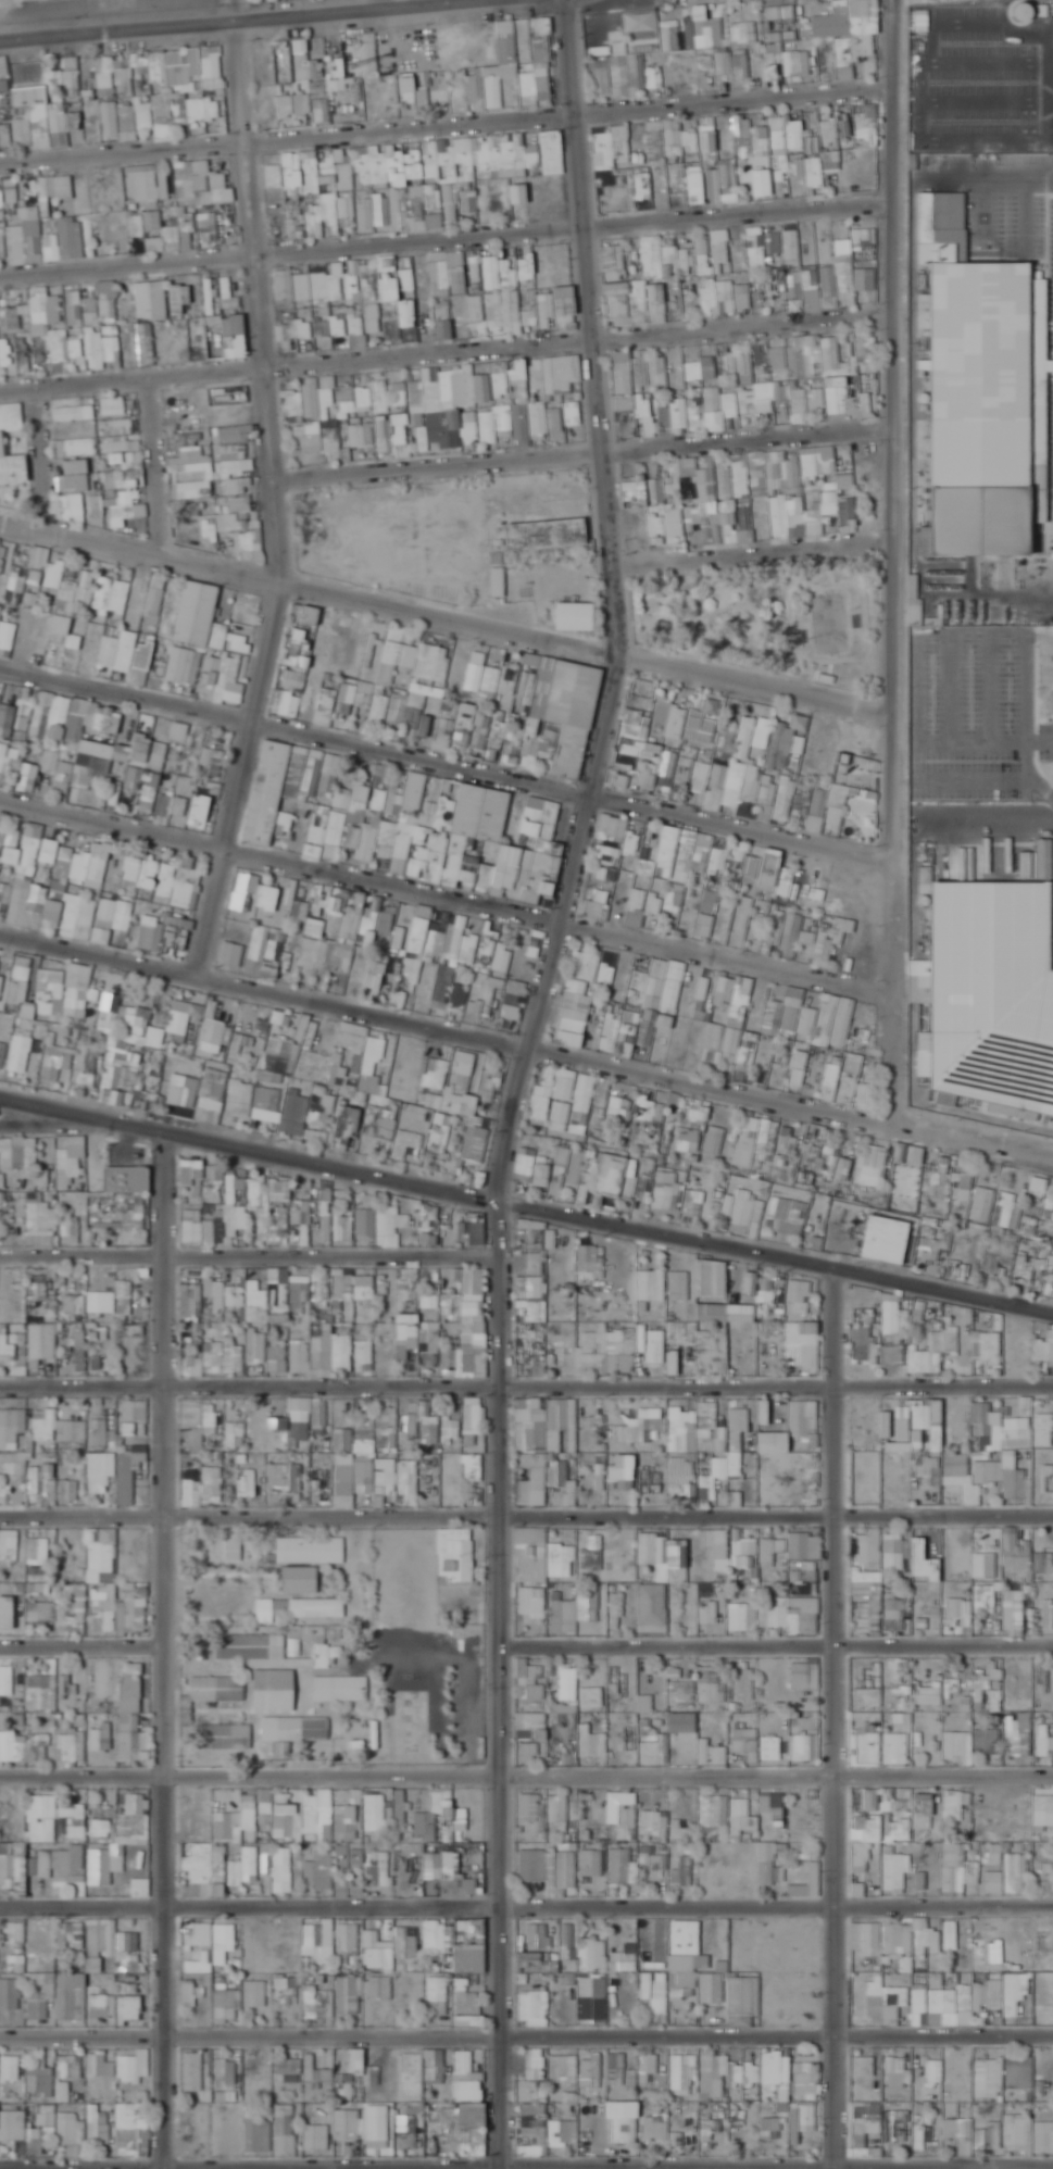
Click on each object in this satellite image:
building: (780, 12)
road: (211, 17)
building: (832, 22)
building: (704, 29)
building: (741, 33)
building: (670, 38)
building: (368, 53)
building: (844, 59)
building: (729, 63)
building: (797, 63)
building: (705, 65)
building: (303, 66)
building: (514, 66)
building: (211, 67)
building: (62, 75)
building: (654, 77)
building: (612, 78)
building: (4, 88)
building: (406, 89)
building: (423, 97)
building: (116, 101)
building: (293, 105)
building: (321, 105)
road: (444, 121)
building: (46, 127)
building: (741, 130)
building: (828, 134)
building: (4, 135)
building: (780, 135)
building: (678, 140)
building: (761, 141)
building: (812, 145)
building: (610, 150)
building: (499, 152)
building: (350, 165)
building: (286, 174)
building: (755, 179)
building: (729, 183)
building: (199, 185)
building: (642, 187)
building: (703, 187)
building: (54, 190)
building: (518, 193)
building: (0, 201)
building: (423, 203)
building: (146, 206)
building: (397, 210)
building: (366, 214)
building: (318, 216)
building: (929, 217)
building: (434, 220)
building: (188, 225)
building: (208, 227)
road: (446, 236)
building: (866, 238)
building: (42, 239)
building: (791, 241)
building: (2, 247)
building: (755, 247)
building: (720, 253)
building: (663, 259)
building: (613, 262)
building: (844, 266)
building: (442, 268)
building: (516, 269)
building: (811, 281)
building: (617, 289)
building: (655, 298)
building: (715, 298)
building: (150, 300)
building: (312, 302)
building: (92, 304)
building: (39, 309)
building: (554, 311)
building: (496, 313)
building: (211, 314)
building: (400, 317)
building: (443, 321)
building: (147, 344)
building: (865, 349)
road: (446, 350)
building: (830, 354)
building: (20, 358)
building: (785, 360)
building: (742, 367)
building: (701, 369)
building: (631, 375)
building: (656, 385)
building: (421, 388)
building: (538, 390)
building: (328, 391)
building: (399, 393)
building: (380, 397)
building: (311, 398)
building: (712, 398)
building: (980, 401)
building: (465, 404)
building: (112, 405)
building: (361, 432)
building: (234, 434)
building: (308, 434)
building: (391, 436)
road: (581, 450)
road: (43, 455)
road: (158, 463)
building: (12, 469)
building: (792, 473)
building: (641, 492)
road: (271, 497)
building: (702, 504)
building: (96, 507)
building: (127, 514)
building: (229, 522)
road: (753, 544)
road: (892, 564)
road: (443, 613)
road: (443, 760)
road: (444, 892)
road: (526, 1056)
road: (521, 1078)
road: (50, 1118)
road: (525, 1209)
road: (249, 1253)
road: (526, 1390)
road: (163, 1651)

